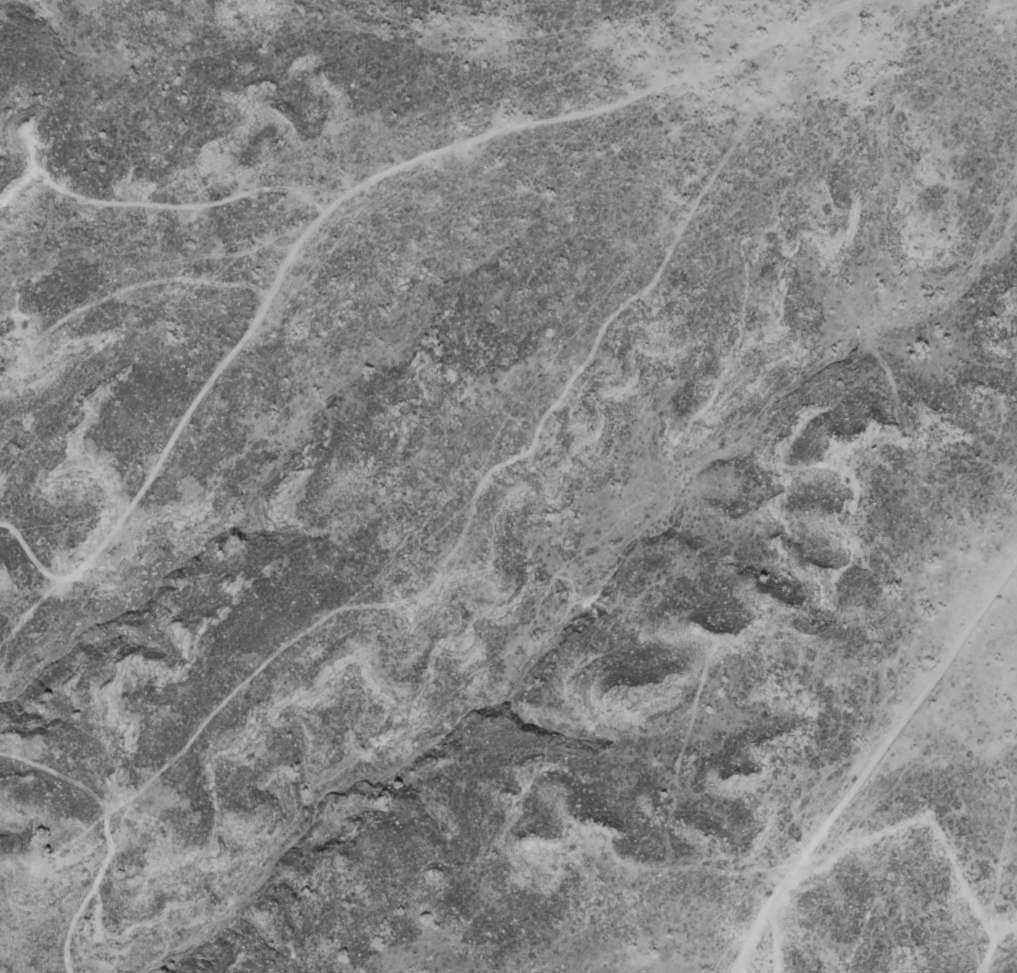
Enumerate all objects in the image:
road: (870, 764)

